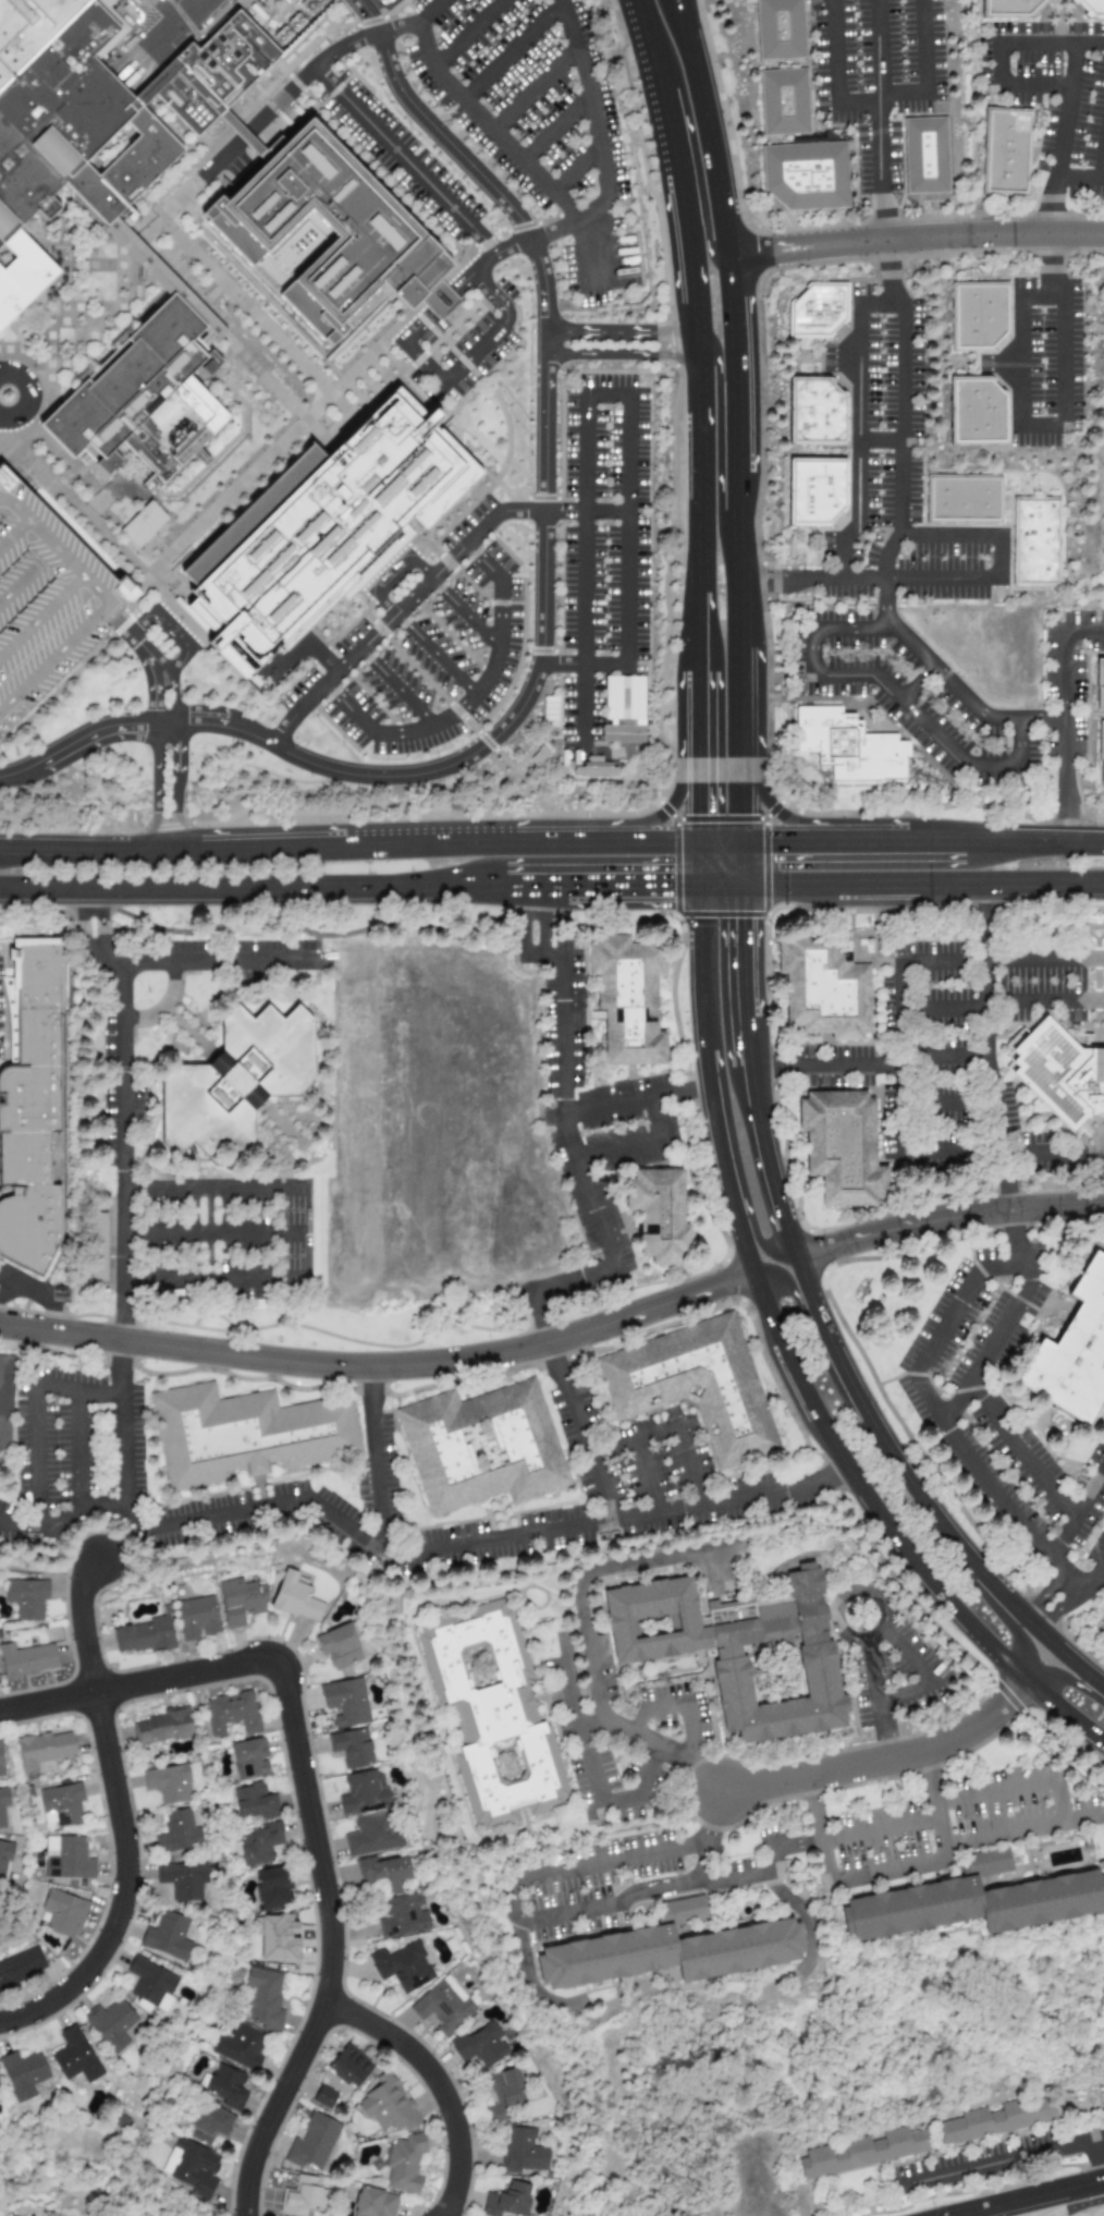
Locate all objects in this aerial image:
building: (1091, 8)
building: (1014, 9)
building: (28, 28)
road: (180, 31)
road: (467, 33)
building: (787, 34)
road: (1051, 44)
road: (923, 47)
road: (512, 51)
road: (835, 51)
road: (998, 64)
road: (1034, 83)
road: (651, 86)
road: (535, 88)
road: (290, 90)
road: (903, 94)
road: (592, 96)
road: (879, 96)
road: (859, 104)
building: (790, 108)
road: (1066, 110)
road: (488, 124)
road: (557, 126)
road: (721, 126)
building: (69, 145)
building: (1008, 151)
building: (925, 156)
road: (692, 159)
road: (405, 160)
road: (577, 167)
road: (1103, 170)
road: (1079, 176)
building: (812, 182)
road: (1051, 206)
road: (884, 216)
building: (326, 233)
road: (543, 234)
road: (923, 240)
road: (587, 253)
road: (682, 253)
road: (1051, 266)
road: (890, 273)
road: (491, 295)
road: (1041, 296)
road: (882, 304)
building: (821, 312)
building: (977, 315)
road: (743, 318)
road: (419, 322)
road: (617, 332)
road: (476, 351)
road: (618, 356)
road: (1019, 360)
road: (719, 361)
road: (1065, 363)
road: (606, 394)
building: (143, 395)
road: (3, 402)
building: (819, 412)
building: (976, 412)
road: (1038, 424)
road: (881, 441)
road: (743, 445)
road: (858, 445)
building: (818, 490)
building: (966, 498)
road: (691, 501)
building: (143, 528)
building: (319, 529)
road: (628, 531)
road: (947, 535)
building: (1039, 541)
road: (998, 557)
road: (885, 571)
road: (582, 573)
road: (393, 574)
road: (743, 575)
road: (430, 577)
road: (942, 580)
road: (813, 582)
building: (46, 601)
parking garage: (46, 601)
road: (544, 610)
road: (463, 612)
road: (848, 628)
road: (1085, 635)
road: (140, 643)
road: (183, 648)
road: (436, 654)
road: (812, 655)
road: (321, 657)
road: (289, 660)
road: (585, 666)
road: (167, 672)
building: (1100, 678)
road: (916, 683)
road: (397, 686)
road: (155, 693)
road: (740, 694)
road: (470, 699)
road: (904, 701)
building: (623, 710)
road: (1067, 739)
road: (1019, 742)
building: (851, 744)
building: (1102, 748)
road: (993, 766)
building: (596, 770)
road: (697, 778)
road: (176, 786)
road: (155, 787)
road: (740, 793)
road: (663, 812)
traffic signals: (698, 812)
road: (835, 823)
road: (922, 842)
traffic signals: (778, 843)
road: (370, 845)
road: (4, 852)
road: (741, 864)
road: (552, 886)
traffic signals: (670, 886)
road: (95, 914)
road: (536, 920)
traffic signals: (744, 925)
road: (109, 950)
road: (744, 952)
road: (1001, 960)
road: (274, 962)
road: (986, 975)
building: (823, 986)
building: (637, 1000)
road: (1045, 1001)
road: (163, 1006)
road: (943, 1009)
road: (561, 1022)
road: (749, 1043)
building: (1062, 1072)
building: (246, 1079)
road: (901, 1079)
road: (709, 1083)
building: (38, 1115)
road: (640, 1146)
road: (733, 1149)
building: (842, 1149)
road: (927, 1153)
road: (1053, 1154)
road: (769, 1162)
road: (582, 1182)
road: (281, 1189)
building: (667, 1213)
road: (948, 1219)
road: (165, 1232)
road: (208, 1237)
building: (97, 1247)
road: (1019, 1256)
road: (1007, 1324)
road: (818, 1347)
building: (1072, 1355)
road: (381, 1368)
building: (702, 1387)
building: (8, 1408)
building: (250, 1437)
road: (620, 1441)
road: (79, 1447)
building: (488, 1449)
road: (37, 1459)
road: (1028, 1464)
road: (918, 1494)
road: (768, 1495)
road: (866, 1495)
road: (659, 1499)
road: (683, 1510)
road: (20, 1524)
road: (180, 1524)
road: (1059, 1538)
road: (444, 1549)
road: (714, 1570)
road: (1091, 1581)
road: (844, 1595)
building: (296, 1597)
building: (26, 1598)
building: (241, 1600)
road: (1046, 1602)
road: (998, 1614)
building: (196, 1618)
road: (88, 1627)
building: (1103, 1627)
building: (144, 1635)
road: (590, 1636)
building: (338, 1645)
road: (867, 1656)
building: (743, 1657)
building: (25, 1659)
road: (1067, 1680)
road: (571, 1681)
road: (127, 1689)
road: (689, 1690)
road: (906, 1694)
building: (345, 1702)
building: (231, 1713)
road: (1064, 1713)
building: (495, 1714)
building: (162, 1726)
building: (351, 1748)
building: (42, 1749)
building: (248, 1757)
road: (883, 1761)
building: (0, 1762)
building: (168, 1782)
building: (364, 1791)
road: (599, 1792)
building: (254, 1802)
building: (60, 1805)
building: (3, 1806)
road: (1084, 1813)
road: (1065, 1821)
building: (176, 1831)
building: (371, 1834)
road: (838, 1836)
building: (259, 1844)
building: (4, 1855)
building: (66, 1858)
building: (991, 1861)
building: (385, 1871)
road: (837, 1875)
building: (181, 1880)
building: (272, 1887)
road: (510, 1889)
road: (127, 1890)
building: (974, 1907)
building: (683, 1909)
building: (61, 1912)
building: (403, 1915)
road: (806, 1919)
building: (167, 1937)
road: (332, 1937)
building: (674, 1955)
building: (402, 1965)
building: (21, 1968)
road: (530, 1982)
building: (150, 1985)
building: (263, 1998)
building: (443, 2005)
building: (113, 2024)
building: (480, 2046)
building: (240, 2047)
building: (74, 2056)
building: (349, 2066)
building: (23, 2073)
building: (225, 2086)
road: (440, 2086)
building: (503, 2094)
building: (323, 2097)
building: (387, 2105)
building: (999, 2122)
building: (209, 2124)
building: (314, 2143)
building: (522, 2152)
building: (866, 2155)
road: (1099, 2160)
building: (404, 2163)
road: (1002, 2163)
building: (193, 2168)
road: (50, 2194)
building: (300, 2196)
road: (1031, 2199)
building: (506, 2200)
building: (373, 2203)
road: (1083, 2204)
park: (1079, 2209)
road: (1059, 2214)

